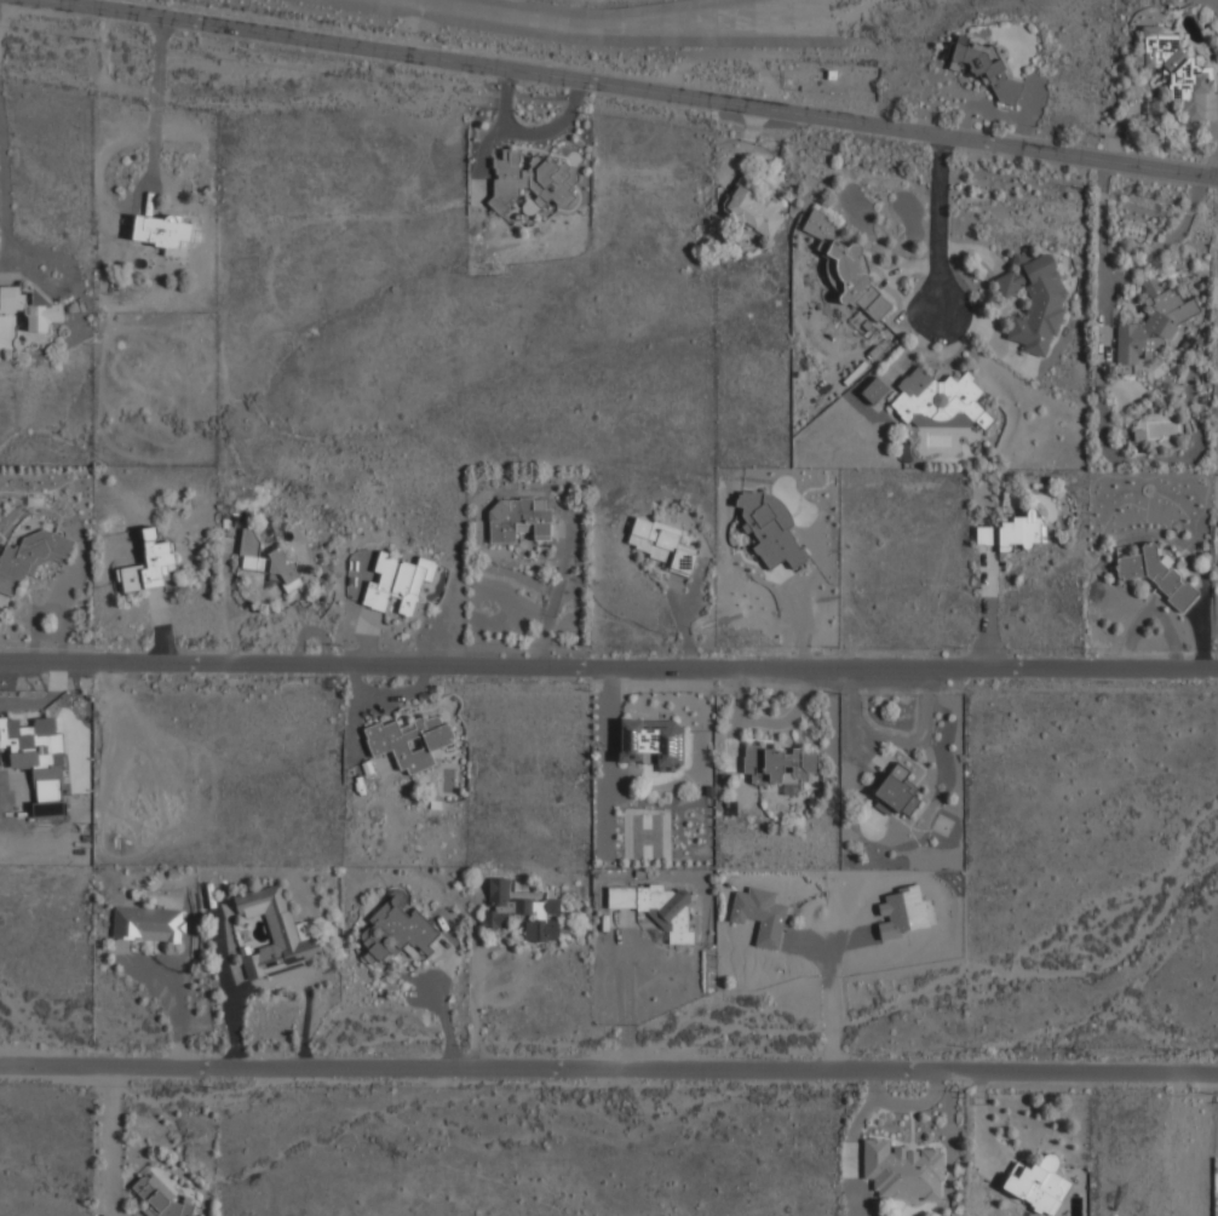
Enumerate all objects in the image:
building: (1174, 70)
building: (984, 71)
road: (621, 87)
building: (530, 180)
building: (753, 207)
road: (941, 226)
building: (163, 234)
building: (848, 268)
road: (1122, 276)
building: (1034, 302)
building: (29, 309)
building: (1153, 325)
building: (874, 390)
building: (940, 397)
building: (518, 520)
building: (770, 528)
building: (1013, 532)
building: (661, 544)
building: (29, 557)
building: (266, 562)
building: (149, 566)
building: (1156, 575)
building: (400, 581)
road: (987, 607)
road: (608, 660)
building: (412, 740)
building: (654, 742)
building: (38, 759)
building: (780, 765)
building: (896, 793)
park: (645, 837)
building: (657, 906)
building: (522, 912)
building: (902, 912)
building: (760, 914)
building: (149, 924)
building: (398, 929)
building: (275, 934)
road: (609, 1060)
road: (104, 1135)
building: (903, 1171)
building: (1039, 1185)
building: (162, 1198)

